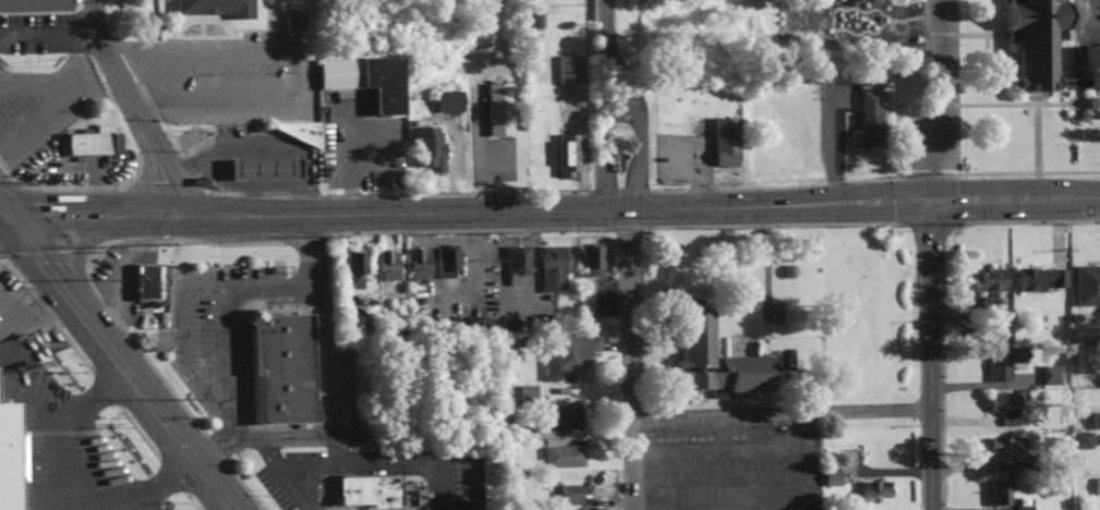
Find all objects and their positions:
building: (34, 4)
road: (851, 7)
building: (218, 8)
building: (288, 17)
building: (298, 17)
building: (533, 19)
parking lot: (1089, 20)
road: (48, 31)
parking lot: (41, 35)
building: (1037, 38)
road: (302, 65)
building: (1093, 66)
building: (563, 69)
road: (160, 73)
parking lot: (229, 77)
building: (366, 80)
road: (78, 95)
road: (632, 100)
building: (443, 101)
road: (935, 102)
parking lot: (45, 105)
road: (134, 108)
building: (498, 109)
road: (617, 112)
building: (869, 121)
road: (601, 124)
building: (302, 132)
building: (96, 139)
parking lot: (358, 141)
parking lot: (485, 141)
road: (267, 142)
building: (725, 142)
building: (427, 147)
building: (567, 154)
parking lot: (258, 156)
road: (353, 165)
road: (109, 166)
parking lot: (76, 167)
road: (95, 167)
building: (263, 169)
road: (457, 169)
road: (862, 179)
road: (484, 182)
road: (250, 185)
road: (312, 196)
road: (254, 202)
road: (1065, 202)
road: (978, 204)
road: (892, 205)
road: (742, 207)
road: (2, 211)
road: (468, 212)
road: (129, 215)
road: (162, 215)
road: (2, 216)
traffic signals: (5, 216)
road: (58, 216)
road: (198, 217)
road: (264, 217)
road: (57, 219)
road: (1027, 220)
road: (923, 222)
road: (769, 224)
road: (569, 228)
road: (621, 228)
road: (534, 229)
road: (426, 231)
road: (915, 236)
road: (305, 239)
road: (141, 240)
road: (220, 243)
road: (45, 251)
road: (309, 253)
road: (86, 262)
building: (448, 262)
building: (592, 262)
building: (388, 263)
building: (420, 263)
building: (355, 265)
building: (518, 265)
building: (552, 266)
road: (15, 271)
road: (474, 271)
road: (123, 276)
building: (1041, 279)
building: (147, 282)
building: (990, 283)
building: (1088, 286)
parking lot: (123, 288)
road: (263, 292)
road: (69, 296)
road: (520, 304)
road: (44, 306)
parking lot: (519, 309)
road: (35, 313)
road: (0, 314)
parking lot: (19, 317)
road: (8, 319)
road: (116, 320)
building: (552, 323)
road: (917, 323)
building: (366, 325)
building: (400, 326)
building: (479, 326)
building: (424, 329)
building: (697, 336)
road: (74, 349)
parking lot: (209, 352)
road: (226, 352)
building: (569, 354)
road: (929, 356)
road: (630, 359)
building: (1003, 363)
building: (280, 365)
building: (1050, 374)
building: (1099, 377)
road: (166, 384)
road: (104, 388)
building: (523, 391)
road: (144, 394)
road: (86, 401)
building: (1005, 405)
road: (919, 409)
road: (781, 413)
building: (564, 418)
road: (107, 420)
building: (1095, 421)
road: (43, 425)
road: (137, 430)
building: (528, 432)
building: (1080, 439)
road: (214, 447)
road: (716, 447)
building: (1007, 448)
road: (336, 450)
road: (269, 452)
building: (12, 453)
building: (565, 457)
road: (194, 460)
road: (376, 462)
road: (800, 462)
parking lot: (730, 466)
road: (919, 466)
road: (171, 474)
building: (834, 478)
parking lot: (297, 482)
road: (243, 485)
building: (1098, 485)
road: (313, 486)
road: (440, 486)
road: (157, 487)
road: (717, 487)
building: (877, 490)
building: (375, 491)
building: (1001, 493)
building: (572, 495)
road: (191, 500)
building: (1025, 507)

